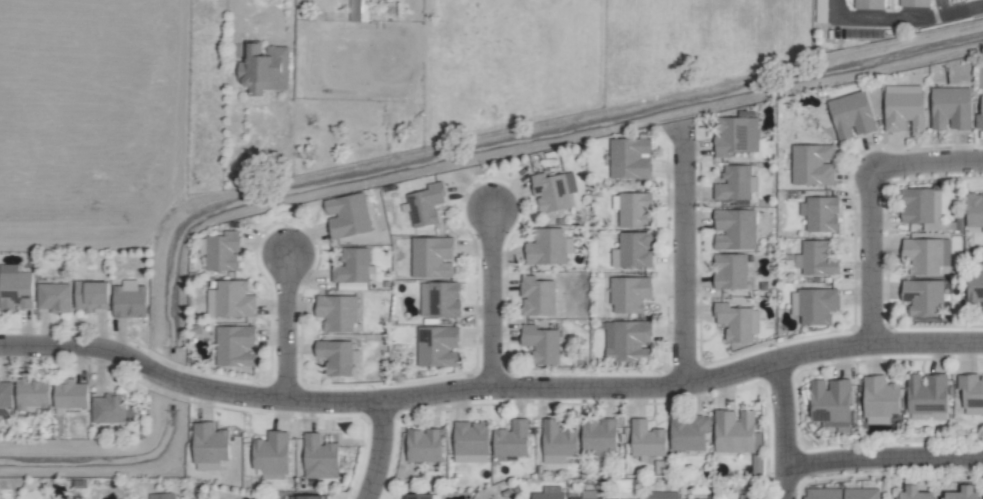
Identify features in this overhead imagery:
building: (915, 3)
building: (868, 4)
road: (233, 9)
building: (358, 10)
road: (905, 17)
building: (264, 68)
building: (904, 108)
building: (951, 108)
building: (851, 115)
building: (980, 117)
crop: (81, 119)
building: (736, 136)
building: (630, 158)
building: (813, 164)
road: (927, 164)
building: (734, 184)
building: (553, 191)
building: (425, 205)
building: (921, 205)
building: (974, 209)
building: (635, 210)
building: (820, 214)
building: (347, 215)
building: (735, 229)
building: (549, 247)
building: (635, 249)
building: (222, 251)
building: (927, 255)
building: (432, 257)
road: (873, 257)
building: (817, 259)
road: (685, 260)
building: (352, 266)
building: (731, 271)
building: (975, 287)
building: (15, 288)
building: (629, 294)
building: (90, 295)
building: (53, 297)
building: (537, 297)
building: (924, 297)
building: (232, 299)
building: (440, 299)
building: (129, 300)
road: (492, 300)
building: (817, 305)
building: (337, 312)
building: (737, 322)
road: (288, 328)
building: (627, 340)
building: (542, 343)
building: (235, 346)
building: (437, 347)
building: (336, 356)
road: (488, 389)
building: (971, 391)
building: (32, 393)
building: (70, 394)
building: (927, 394)
building: (5, 395)
building: (881, 397)
building: (831, 402)
building: (111, 409)
road: (786, 429)
building: (734, 431)
building: (689, 433)
building: (471, 438)
building: (599, 438)
building: (647, 439)
building: (511, 440)
building: (558, 440)
building: (210, 445)
building: (424, 445)
road: (381, 451)
building: (271, 453)
building: (320, 458)
road: (884, 458)
crop: (843, 486)
building: (842, 493)
building: (916, 493)
building: (964, 493)
building: (549, 494)
building: (588, 495)
building: (661, 495)
building: (162, 496)
building: (418, 496)
building: (306, 497)
building: (746, 497)

